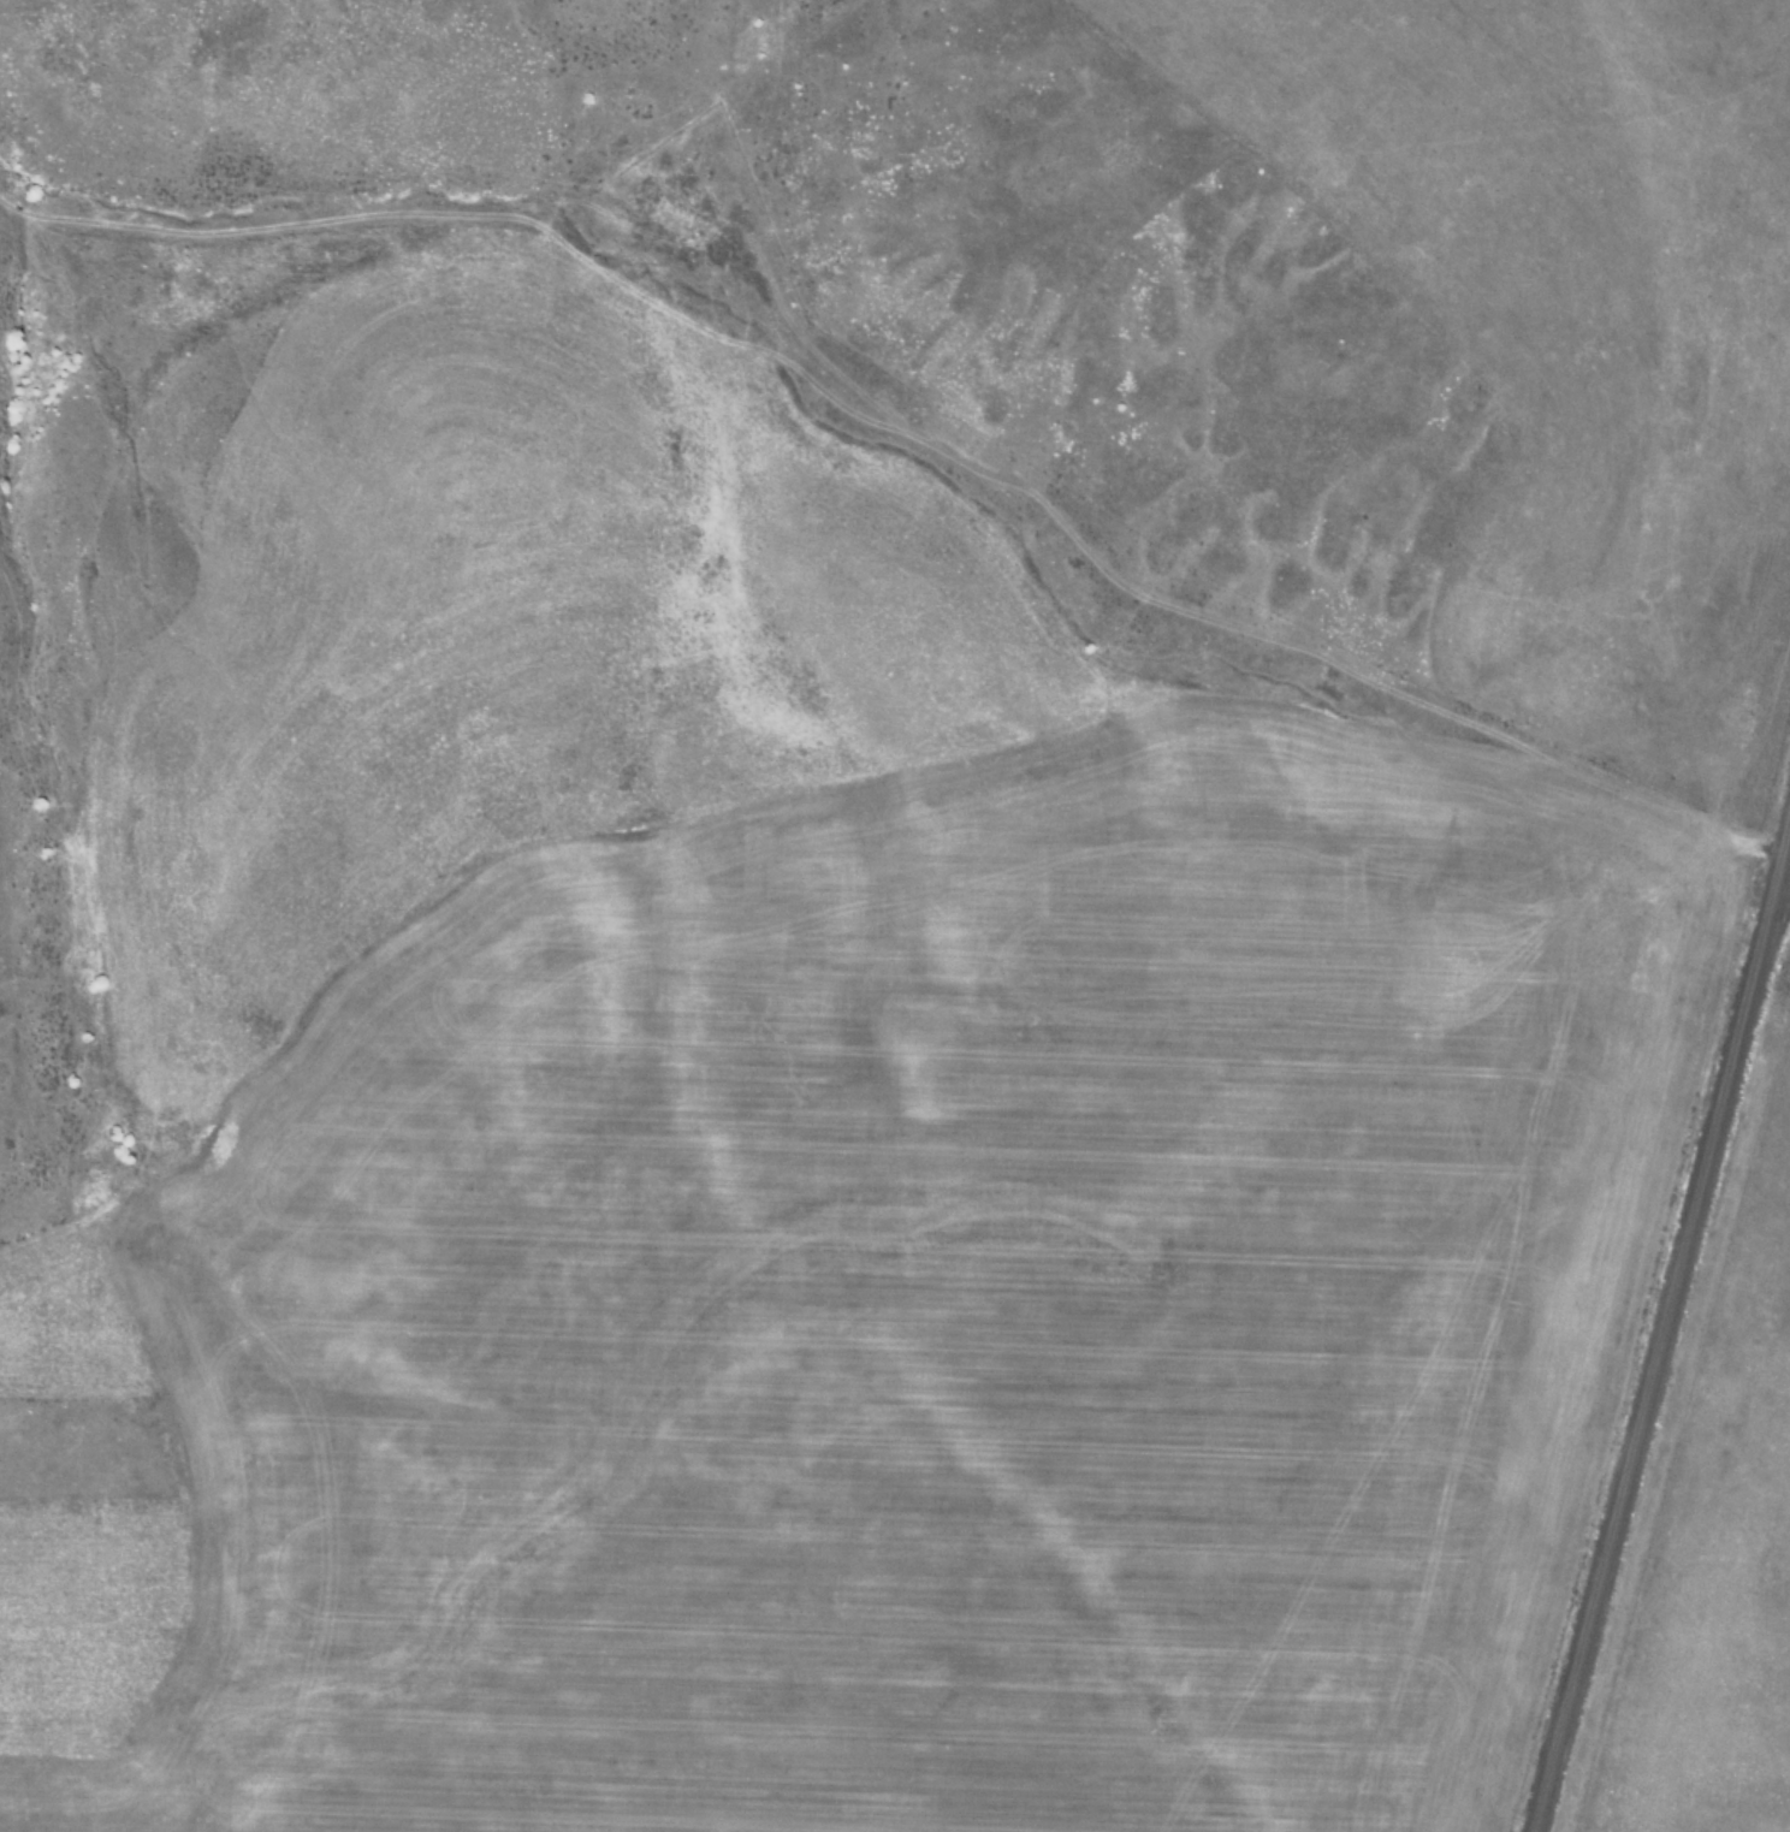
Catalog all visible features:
road: (1783, 837)
road: (1655, 1350)

